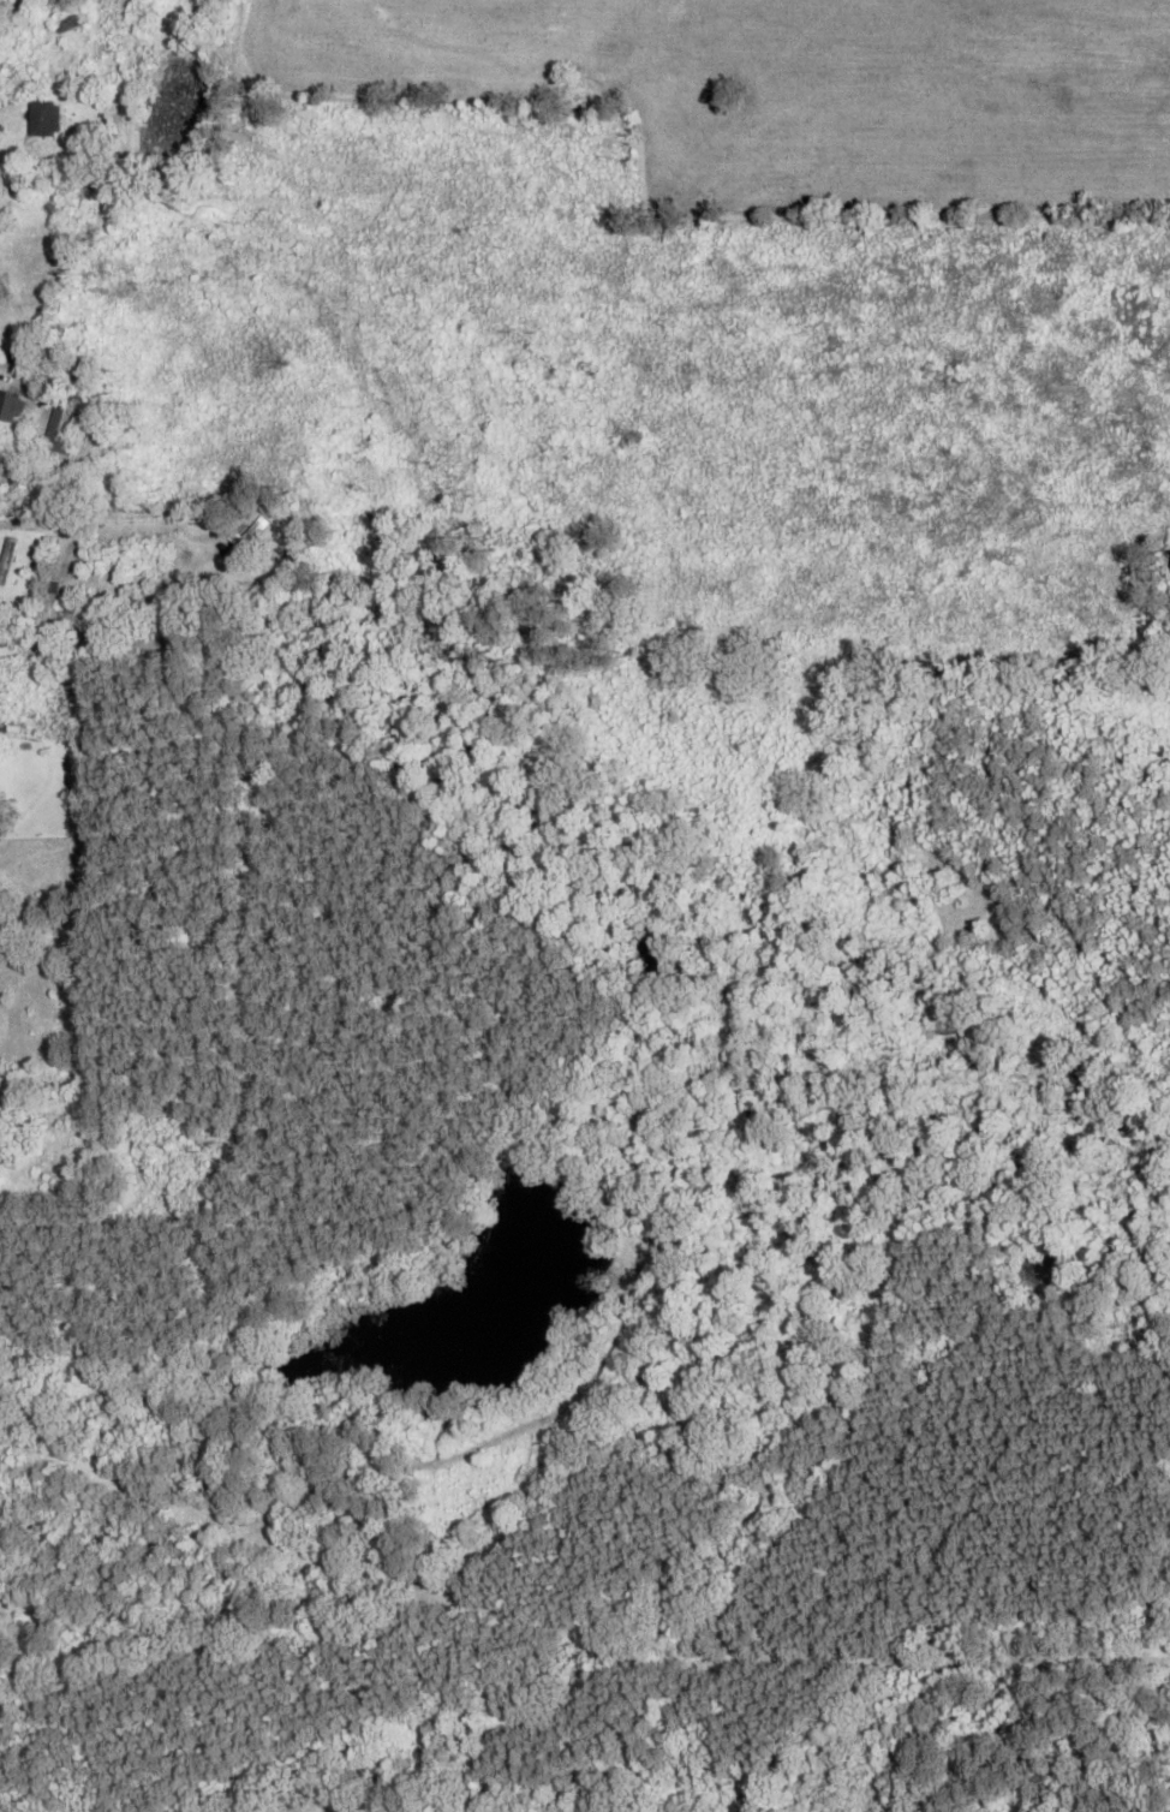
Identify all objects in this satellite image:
building: (61, 25)
building: (42, 119)
building: (11, 407)
building: (1, 489)
building: (246, 540)
building: (7, 560)
building: (0, 1632)

